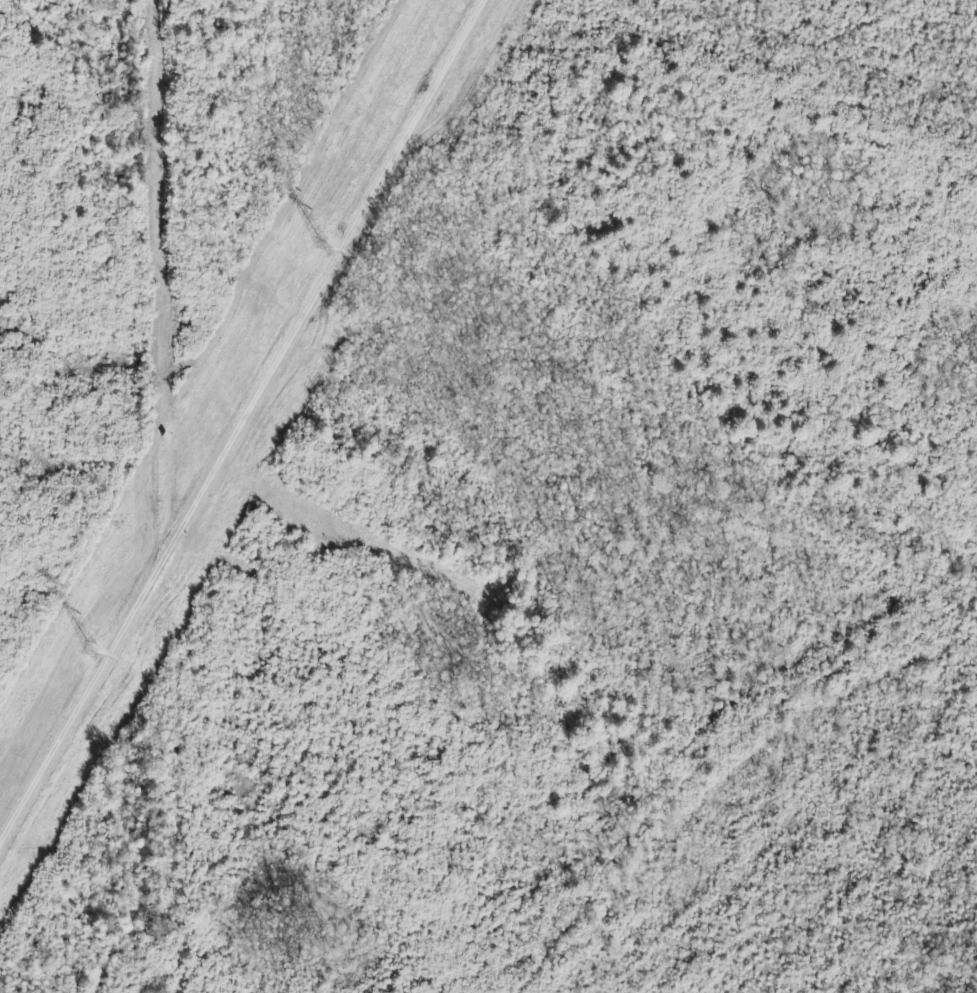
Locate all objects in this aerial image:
power tower: (327, 248)
road: (246, 430)
power tower: (95, 653)

